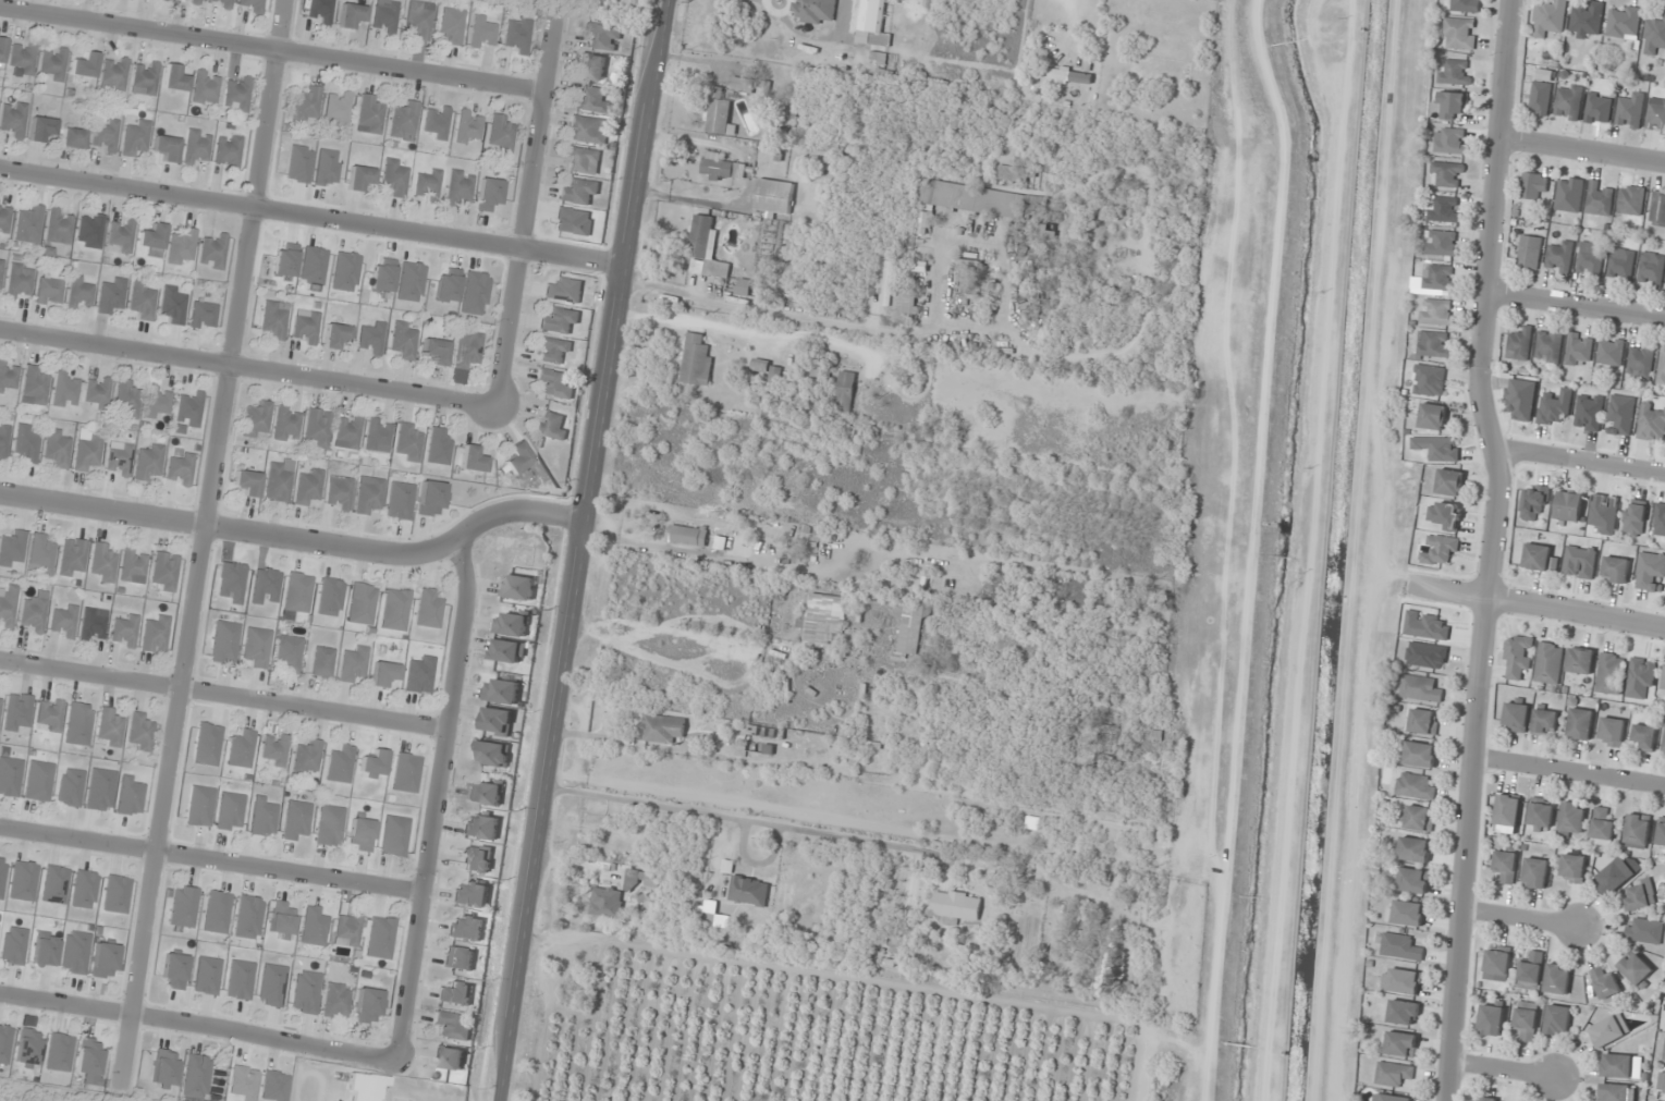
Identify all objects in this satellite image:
building: (192, 1)
building: (220, 3)
building: (252, 5)
building: (1464, 5)
building: (322, 11)
building: (817, 11)
building: (352, 16)
building: (387, 17)
building: (419, 20)
building: (1550, 20)
building: (1624, 22)
building: (871, 23)
building: (452, 25)
building: (483, 33)
building: (1459, 34)
building: (518, 35)
building: (1654, 36)
building: (602, 37)
building: (2, 49)
road: (271, 50)
building: (23, 61)
building: (53, 64)
building: (592, 65)
building: (85, 66)
building: (1455, 73)
building: (114, 74)
building: (1067, 75)
building: (145, 78)
building: (174, 79)
building: (743, 85)
building: (206, 88)
building: (1541, 93)
building: (236, 95)
building: (595, 100)
building: (1568, 101)
building: (307, 106)
building: (1452, 107)
building: (338, 108)
building: (1597, 109)
building: (1630, 111)
building: (720, 113)
building: (371, 114)
building: (1656, 117)
building: (13, 120)
building: (404, 121)
building: (469, 127)
building: (41, 129)
building: (589, 130)
building: (502, 135)
building: (106, 137)
building: (73, 139)
building: (136, 139)
building: (1448, 140)
building: (167, 148)
building: (197, 148)
road: (1582, 150)
building: (228, 152)
building: (583, 160)
building: (721, 167)
building: (1016, 174)
building: (1448, 174)
building: (360, 178)
building: (395, 179)
building: (428, 184)
building: (1534, 186)
building: (461, 188)
building: (579, 192)
building: (1569, 194)
building: (774, 196)
building: (1600, 198)
building: (972, 199)
building: (1630, 200)
building: (0, 201)
building: (1657, 208)
building: (1444, 209)
road: (527, 210)
road: (310, 216)
building: (4, 220)
building: (923, 223)
building: (29, 224)
building: (60, 228)
building: (90, 232)
building: (122, 235)
building: (154, 238)
building: (1442, 243)
building: (706, 246)
building: (182, 249)
building: (213, 252)
building: (1529, 253)
building: (1559, 258)
building: (1590, 260)
building: (1620, 265)
building: (1, 268)
building: (1651, 268)
building: (1438, 278)
building: (20, 282)
building: (887, 284)
building: (743, 288)
building: (563, 291)
building: (50, 292)
building: (81, 294)
building: (112, 296)
building: (143, 301)
building: (173, 305)
building: (905, 305)
road: (1575, 305)
building: (1437, 313)
building: (204, 316)
building: (273, 321)
building: (560, 321)
building: (306, 328)
building: (335, 335)
building: (371, 340)
building: (404, 341)
building: (1519, 344)
building: (1431, 346)
building: (1548, 346)
building: (468, 350)
building: (1579, 350)
building: (554, 351)
building: (436, 352)
building: (1611, 352)
building: (696, 360)
building: (1640, 362)
building: (1662, 367)
road: (248, 368)
building: (821, 374)
building: (8, 377)
building: (770, 382)
building: (555, 384)
building: (34, 388)
building: (65, 391)
building: (97, 393)
building: (845, 393)
building: (1521, 397)
building: (127, 400)
building: (158, 403)
building: (1555, 408)
building: (189, 409)
building: (1432, 416)
building: (256, 421)
building: (286, 425)
building: (552, 425)
building: (1651, 425)
building: (317, 429)
building: (347, 432)
building: (379, 436)
building: (4, 439)
building: (409, 443)
building: (26, 444)
building: (440, 446)
building: (58, 449)
building: (88, 451)
building: (518, 458)
building: (119, 460)
road: (1580, 460)
building: (473, 461)
building: (148, 462)
building: (181, 470)
building: (278, 480)
building: (1449, 482)
building: (247, 484)
building: (308, 488)
building: (339, 493)
building: (369, 497)
building: (1533, 502)
building: (1568, 506)
building: (1635, 518)
building: (1660, 523)
building: (689, 536)
road: (294, 541)
road: (201, 548)
road: (1495, 549)
building: (11, 550)
road: (576, 550)
building: (1440, 550)
building: (41, 553)
building: (1537, 556)
building: (72, 558)
building: (102, 563)
building: (133, 566)
building: (1616, 570)
building: (164, 572)
building: (1651, 572)
building: (231, 584)
building: (267, 587)
building: (517, 587)
building: (780, 590)
building: (298, 592)
building: (330, 597)
building: (363, 604)
building: (8, 607)
building: (429, 609)
building: (396, 610)
road: (1578, 610)
building: (34, 612)
building: (822, 617)
building: (63, 622)
building: (93, 625)
building: (909, 631)
building: (124, 632)
building: (155, 635)
building: (224, 643)
building: (258, 647)
building: (290, 655)
building: (1427, 656)
building: (1518, 658)
building: (1580, 661)
building: (323, 663)
building: (1548, 663)
building: (353, 664)
building: (1609, 673)
building: (384, 674)
building: (420, 676)
building: (1664, 681)
building: (1420, 688)
road: (223, 695)
building: (0, 696)
building: (16, 713)
building: (1516, 714)
building: (48, 715)
building: (1424, 721)
building: (1544, 721)
building: (77, 724)
building: (1580, 724)
building: (109, 727)
building: (662, 729)
building: (1612, 732)
building: (139, 733)
building: (1644, 736)
building: (207, 745)
building: (1664, 748)
building: (242, 749)
building: (274, 749)
building: (494, 754)
building: (1421, 754)
building: (307, 759)
building: (375, 764)
building: (341, 766)
road: (1569, 771)
building: (406, 773)
building: (9, 776)
building: (38, 782)
building: (1416, 785)
building: (69, 787)
building: (130, 796)
road: (437, 797)
building: (200, 807)
building: (1507, 810)
building: (231, 812)
building: (1541, 815)
building: (265, 817)
building: (1417, 818)
building: (1571, 819)
building: (297, 821)
building: (330, 827)
building: (481, 827)
building: (1602, 828)
building: (1637, 831)
building: (362, 833)
building: (1661, 833)
building: (394, 836)
building: (1413, 849)
road: (210, 858)
building: (1506, 865)
building: (1572, 868)
building: (1534, 872)
building: (1614, 877)
building: (642, 879)
building: (1413, 880)
building: (23, 881)
building: (54, 884)
building: (84, 890)
building: (749, 891)
building: (115, 894)
building: (472, 894)
building: (1637, 897)
building: (608, 903)
building: (956, 906)
building: (183, 907)
building: (217, 913)
building: (1407, 913)
building: (714, 916)
road: (1518, 917)
building: (248, 918)
building: (282, 918)
building: (314, 927)
building: (466, 928)
building: (347, 930)
building: (1643, 930)
building: (380, 938)
building: (896, 943)
building: (13, 946)
building: (1400, 946)
building: (75, 953)
building: (460, 959)
building: (103, 962)
building: (1497, 965)
building: (1637, 969)
building: (173, 971)
building: (1531, 972)
building: (207, 976)
building: (1557, 979)
building: (240, 980)
building: (1404, 981)
building: (1605, 984)
building: (272, 986)
building: (306, 993)
building: (455, 993)
building: (335, 1001)
building: (368, 1006)
building: (1404, 1013)
building: (1527, 1019)
building: (1491, 1020)
building: (1558, 1020)
road: (198, 1023)
building: (454, 1025)
building: (1664, 1025)
building: (1609, 1030)
building: (4, 1043)
building: (1400, 1043)
building: (28, 1048)
building: (1664, 1052)
building: (59, 1053)
building: (89, 1060)
building: (1617, 1066)
building: (164, 1068)
road: (1503, 1069)
building: (1393, 1074)
building: (196, 1076)
building: (1661, 1084)
building: (1617, 1092)
building: (1391, 1098)
building: (1483, 1099)

